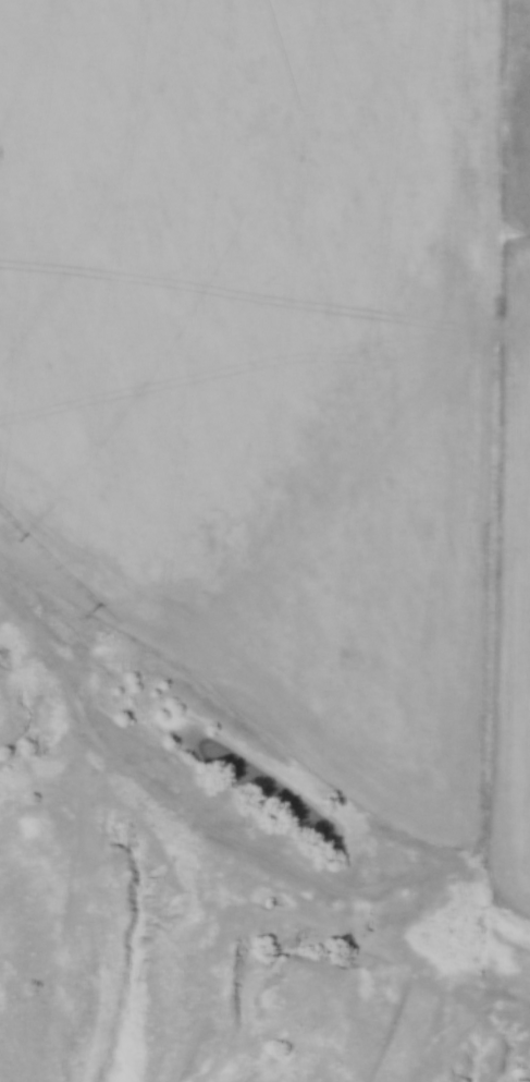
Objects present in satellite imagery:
crop: (260, 354)

